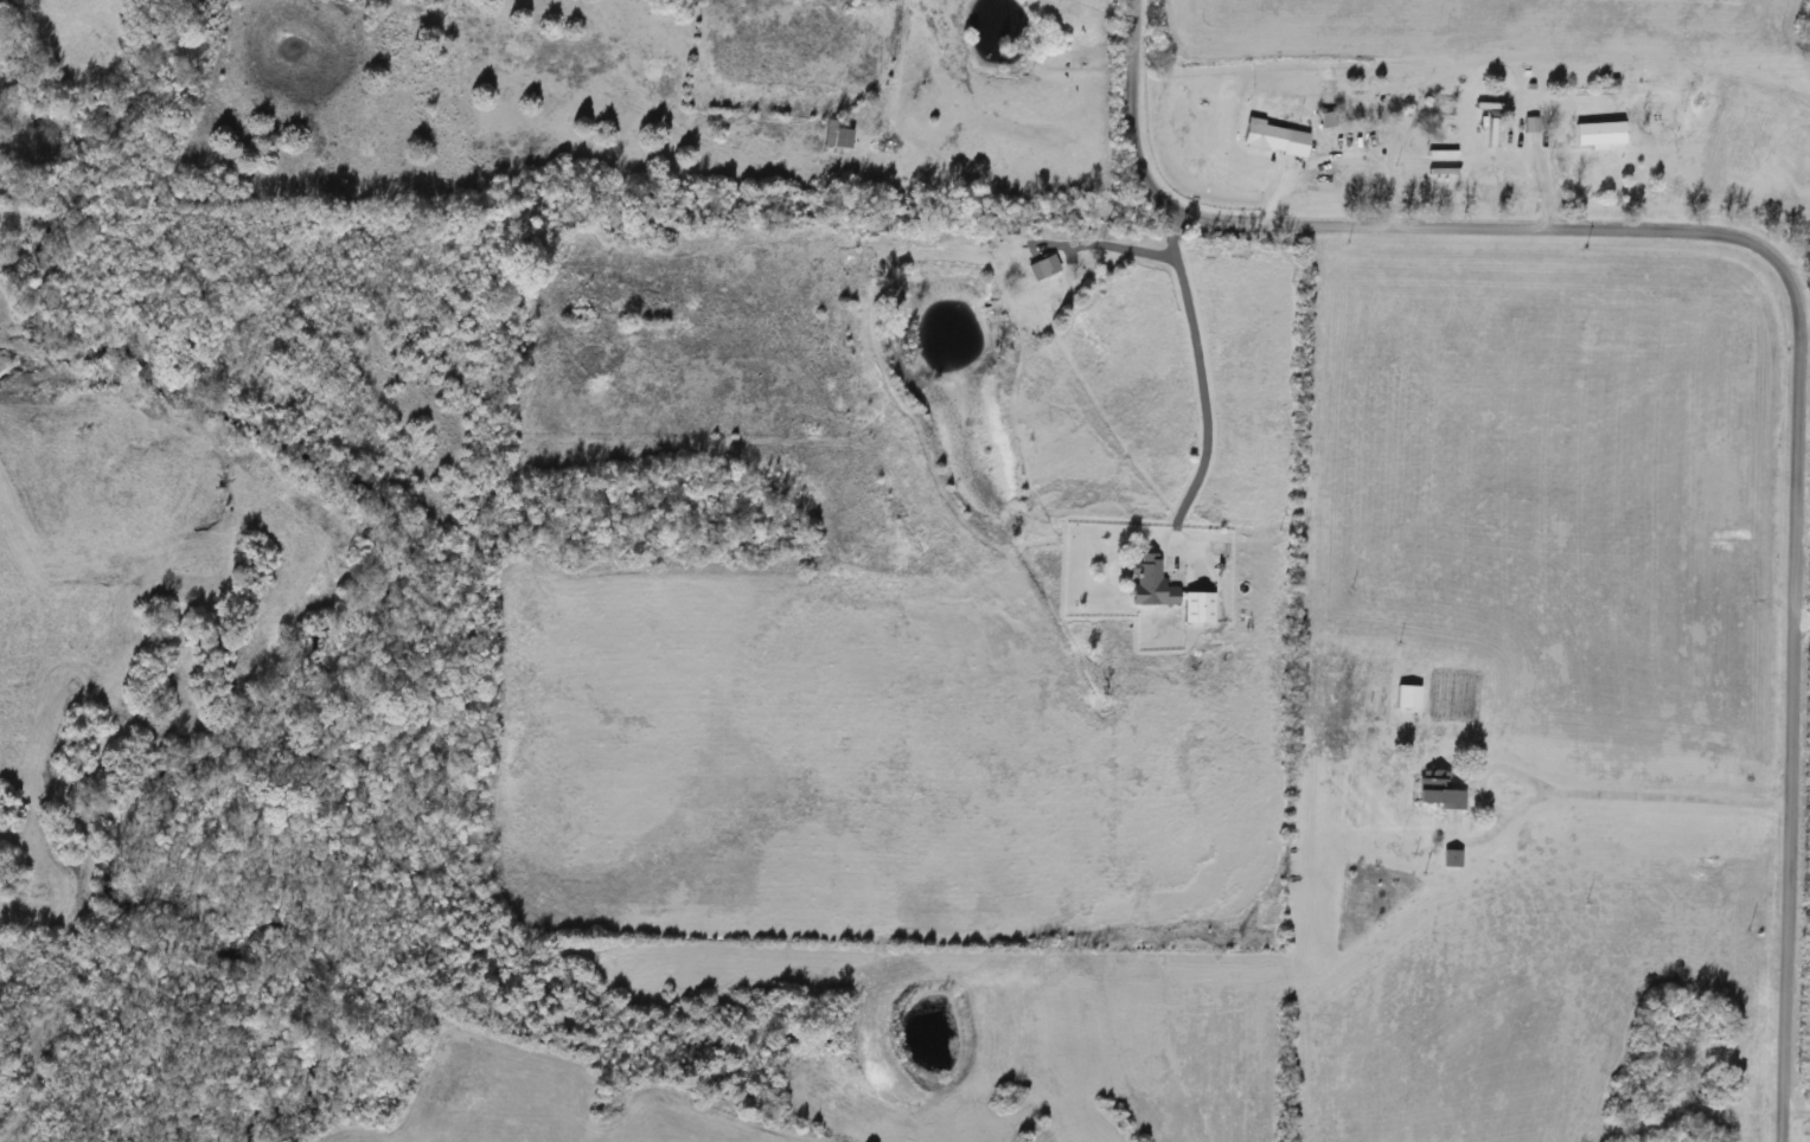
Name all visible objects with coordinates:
building: (1595, 133)
building: (833, 136)
building: (1271, 139)
road: (1115, 244)
building: (1040, 268)
road: (1789, 282)
road: (1204, 379)
building: (1147, 582)
building: (1403, 697)
road: (1476, 772)
building: (1432, 789)
road: (1611, 798)
road: (1795, 1115)

